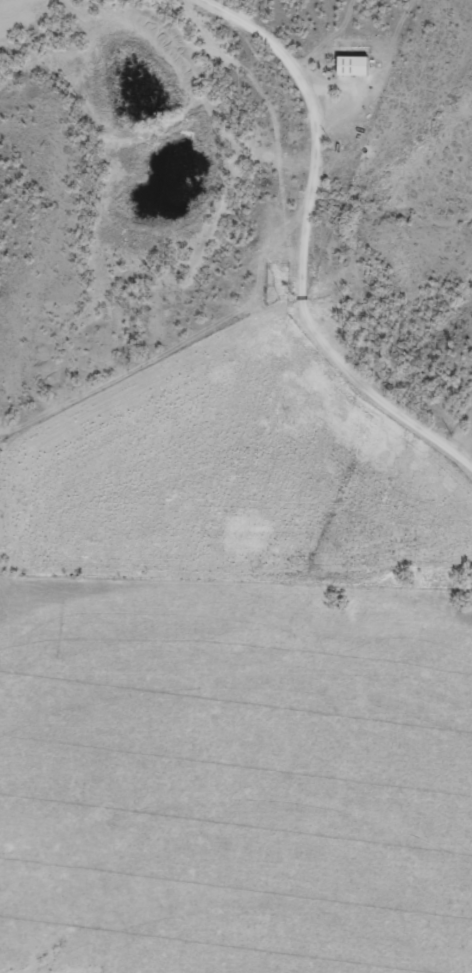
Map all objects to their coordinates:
building: (352, 64)
road: (302, 245)

